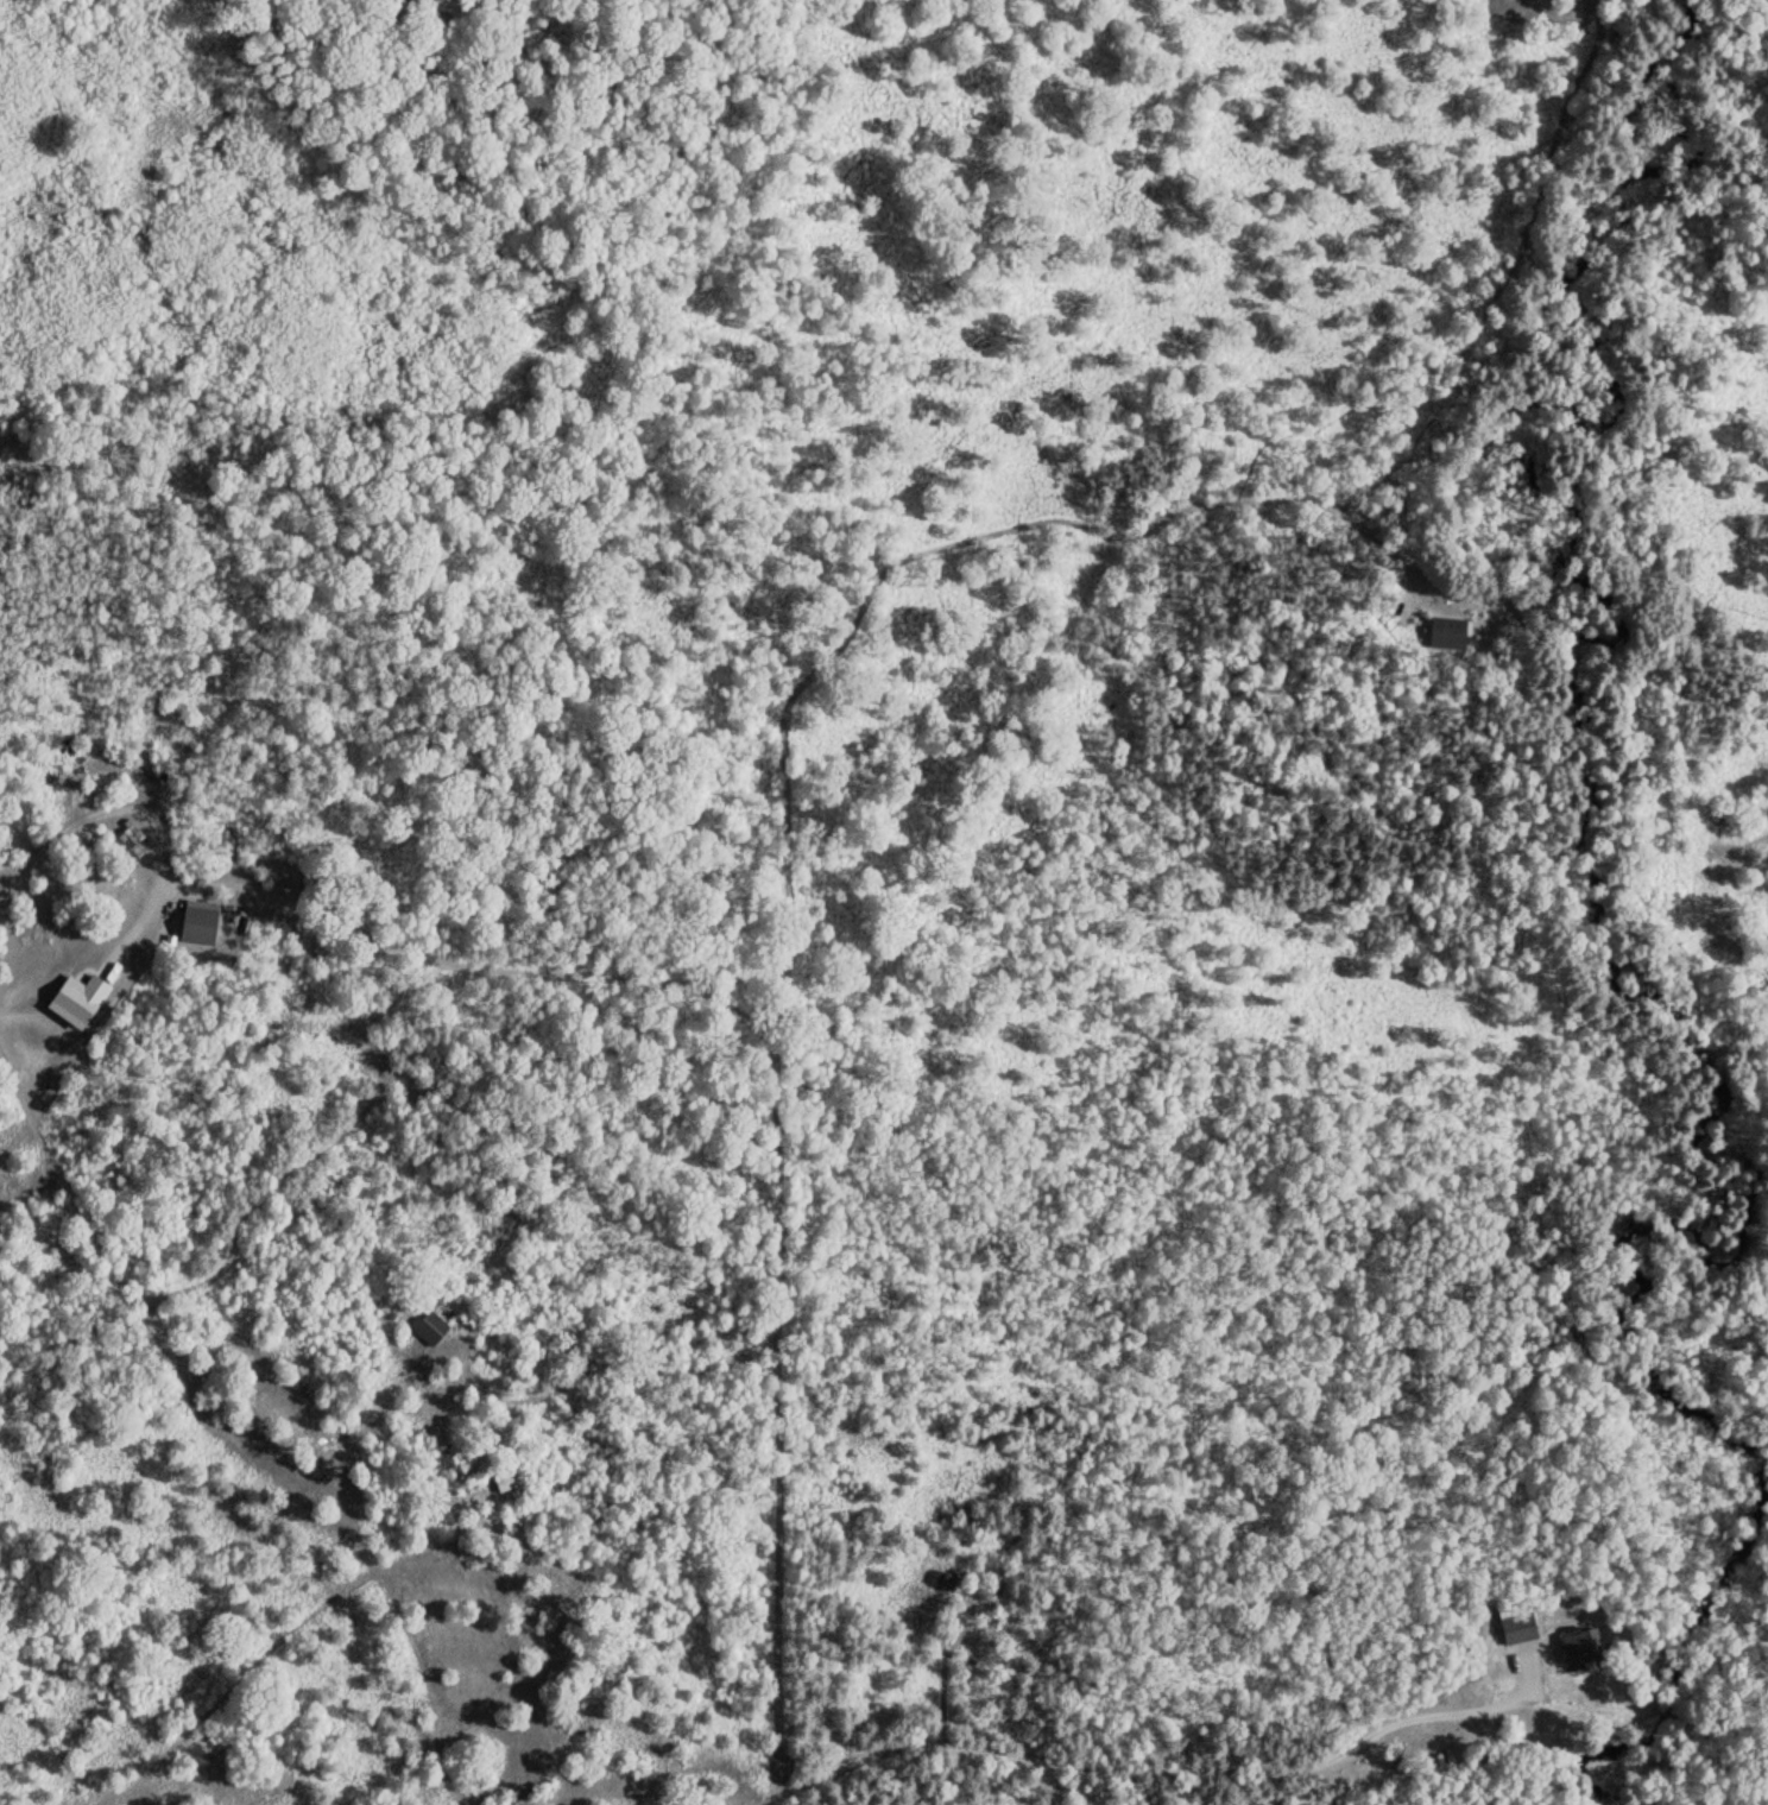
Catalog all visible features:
building: (1444, 633)
road: (335, 840)
road: (859, 885)
building: (195, 922)
building: (71, 1002)
building: (427, 1328)
building: (1514, 1628)
building: (1577, 1647)

